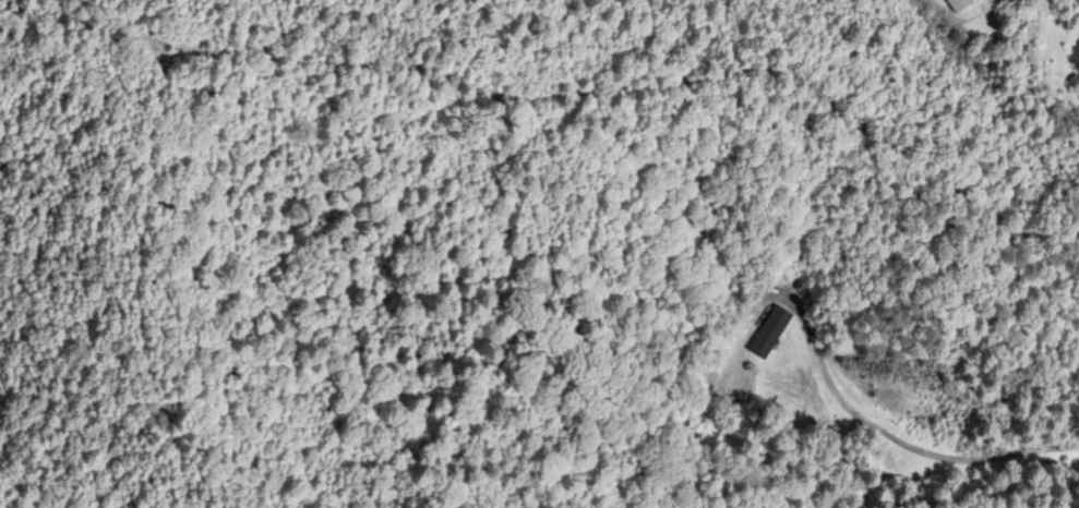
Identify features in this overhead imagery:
building: (958, 5)
building: (1075, 85)
building: (768, 336)
road: (896, 439)

